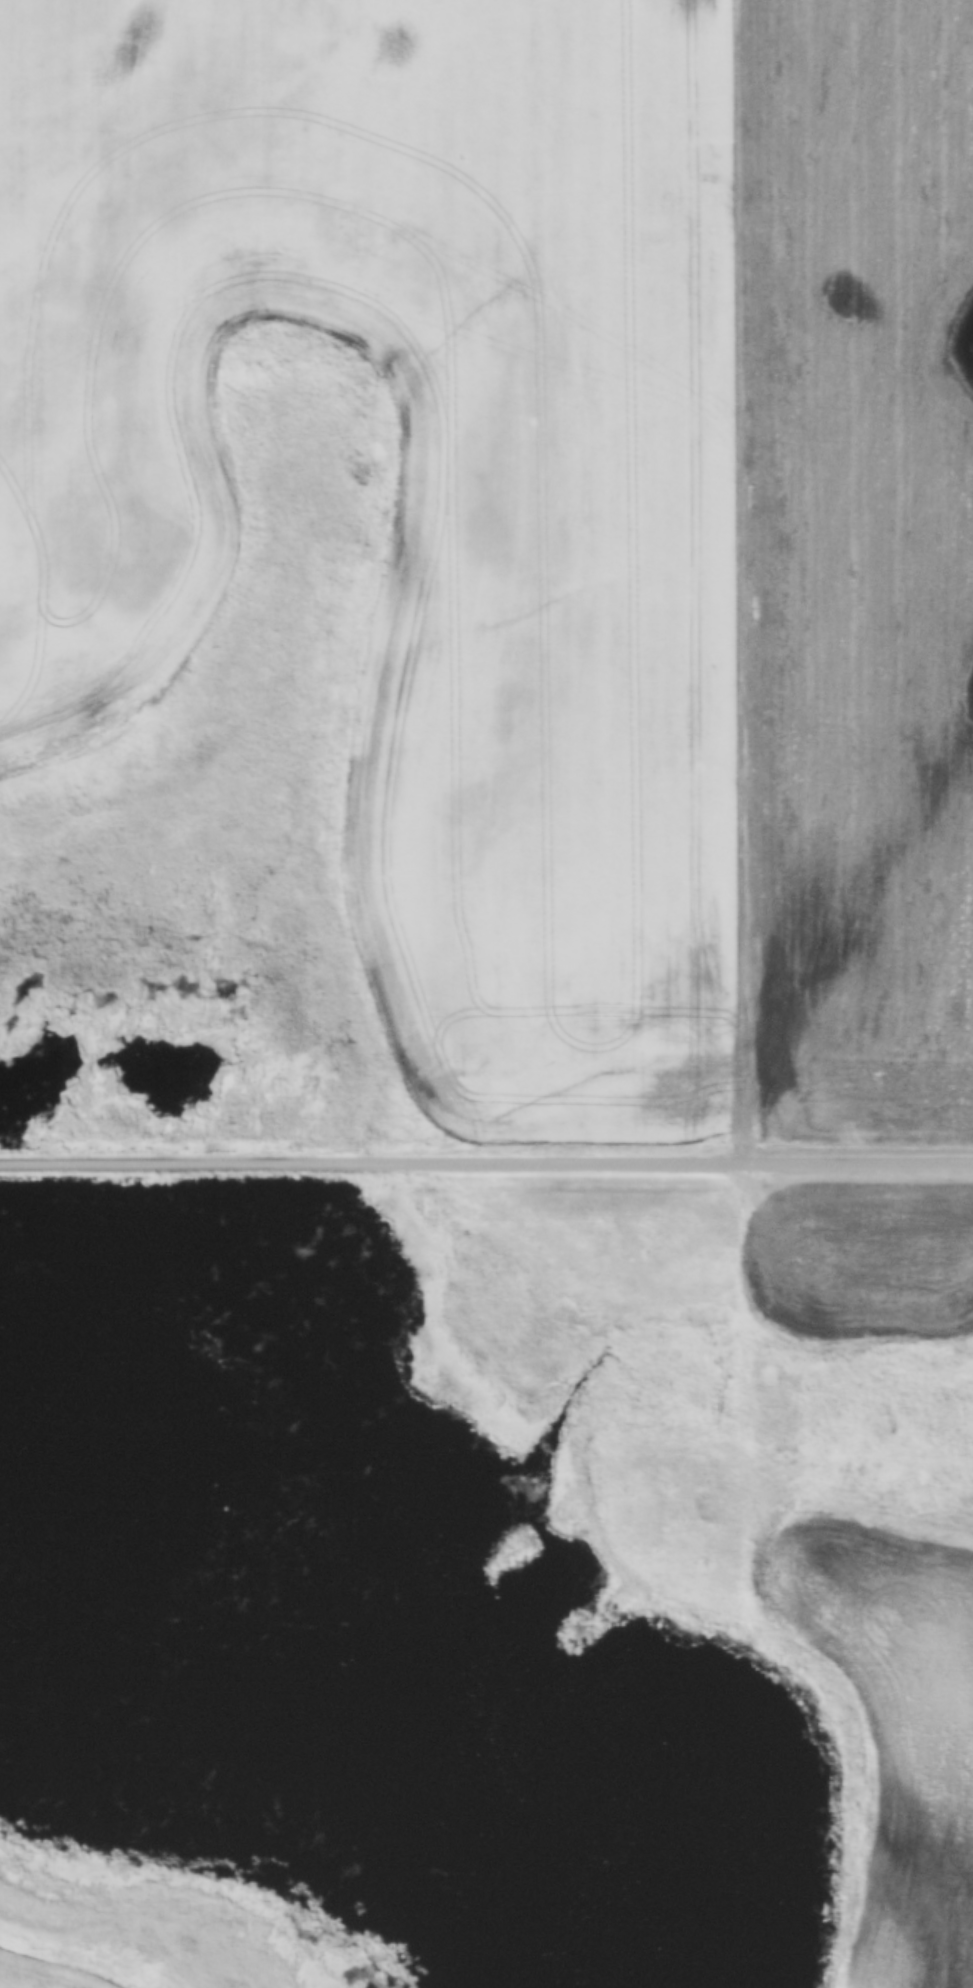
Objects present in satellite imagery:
road: (740, 584)
road: (486, 1167)

